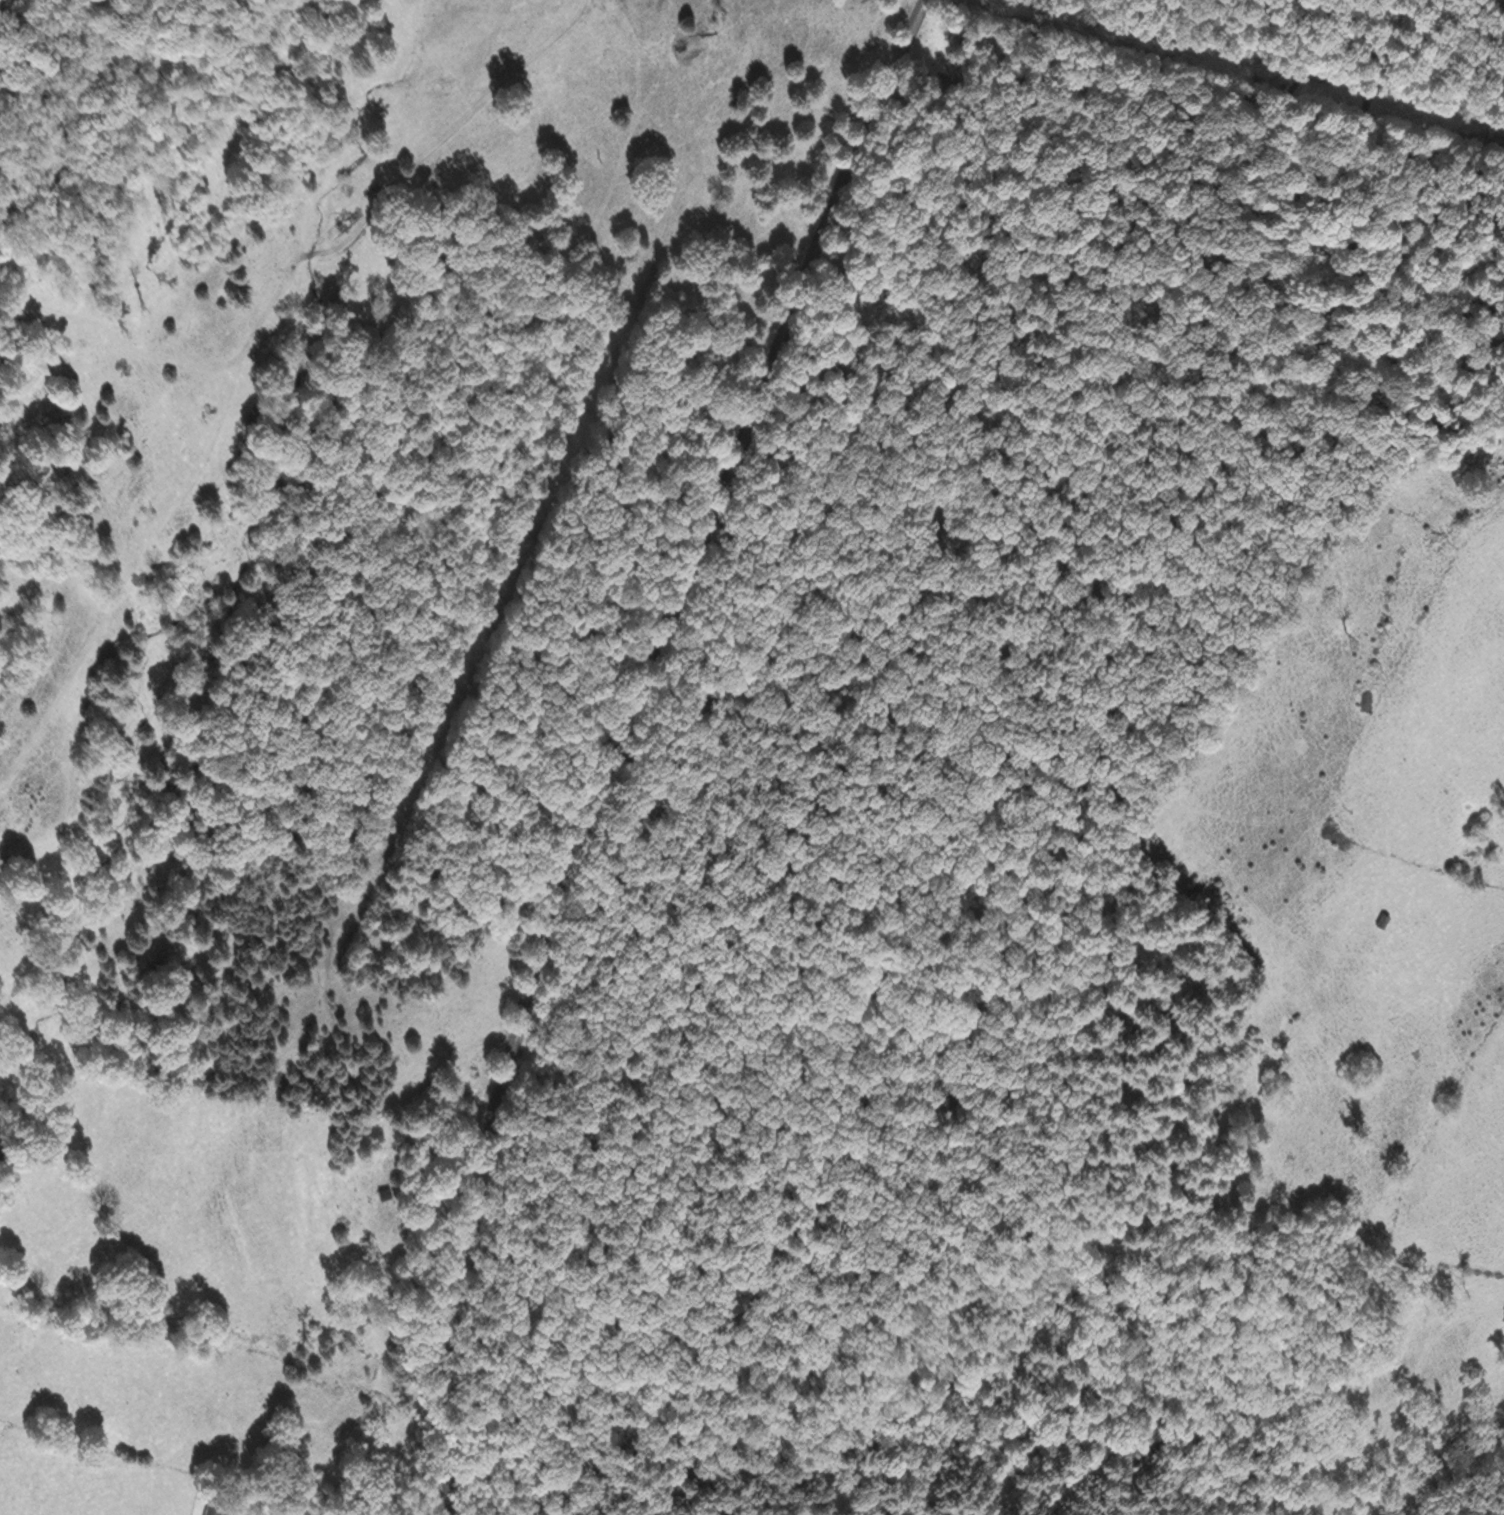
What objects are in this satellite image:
road: (121, 338)
road: (246, 352)
road: (629, 745)
building: (214, 1508)

